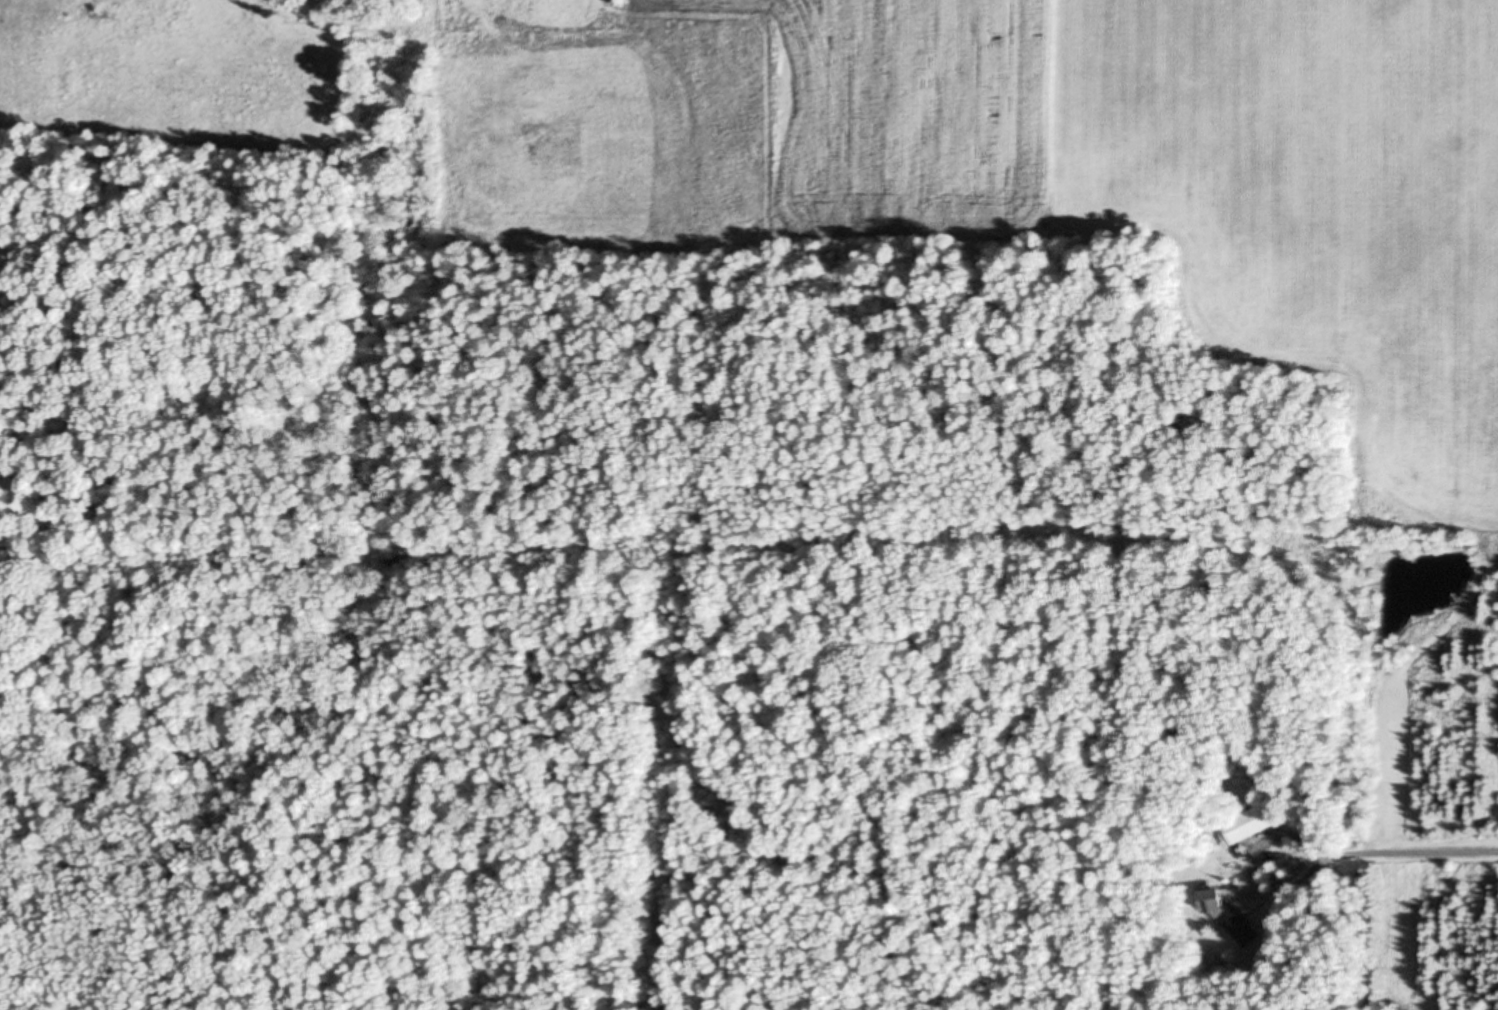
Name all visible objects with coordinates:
building: (1252, 823)
road: (1412, 853)
road: (1253, 876)
building: (1242, 925)

